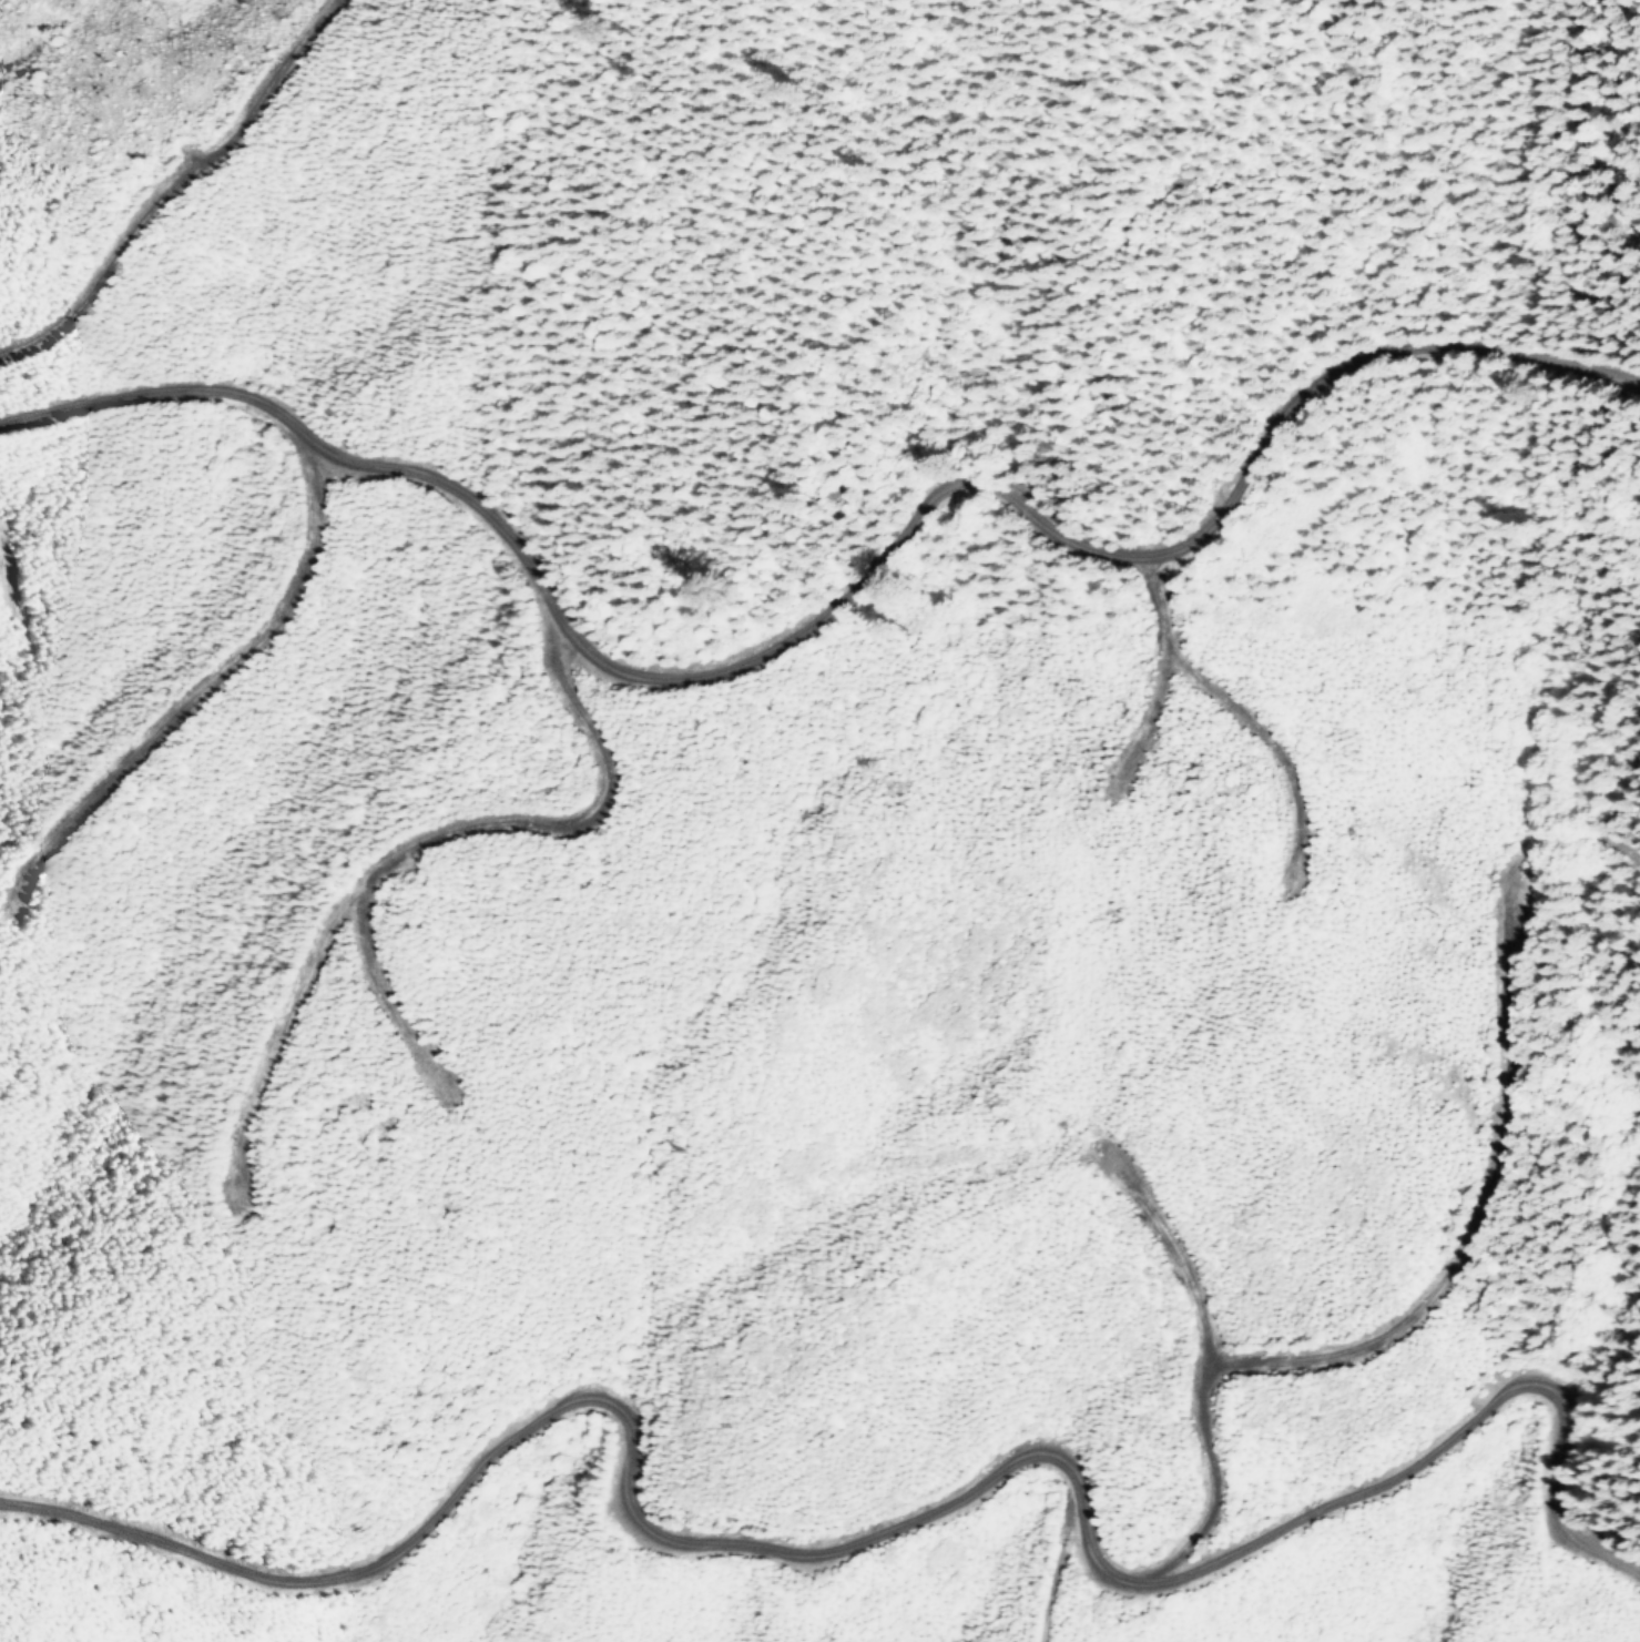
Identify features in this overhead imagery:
road: (819, 609)
road: (1381, 1344)
crop: (214, 1361)
crop: (605, 1416)
crop: (691, 1509)
road: (874, 1530)
crop: (1281, 1558)

